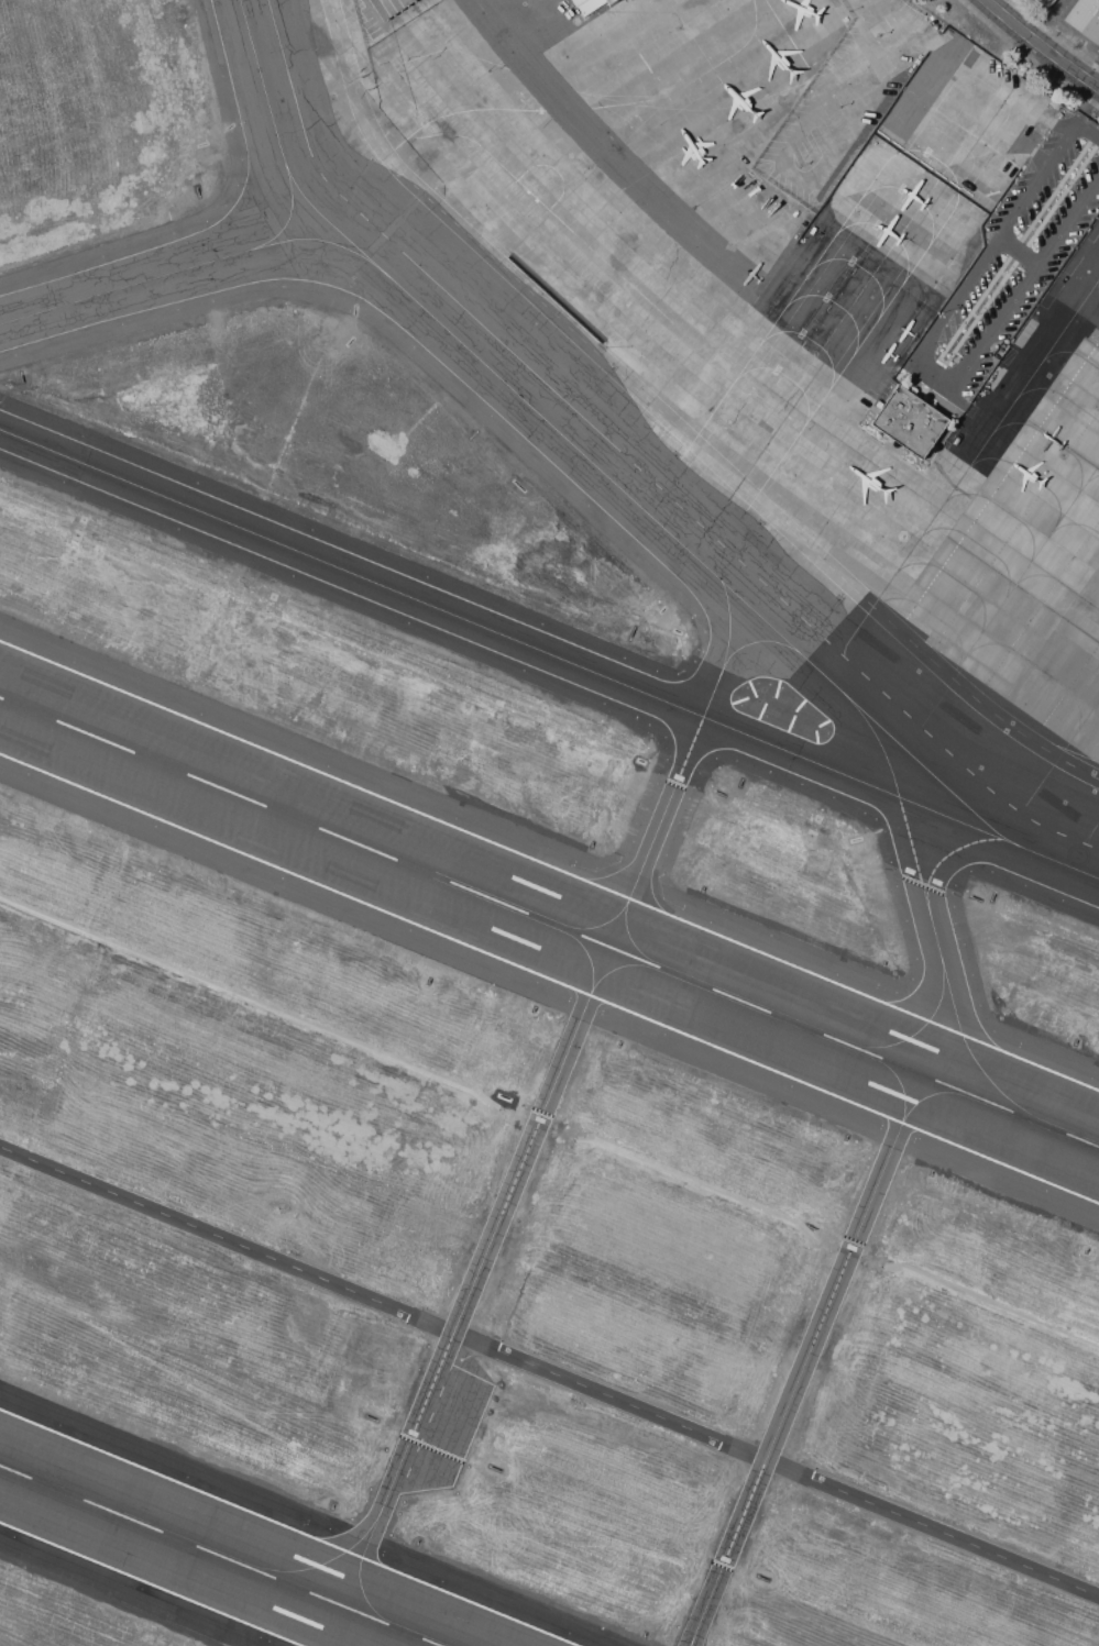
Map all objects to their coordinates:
building: (607, 1)
building: (578, 2)
building: (1044, 2)
building: (589, 5)
building: (388, 7)
building: (1085, 18)
road: (1042, 44)
road: (1088, 106)
airport taxiway: (292, 206)
airport taxiway: (314, 240)
airport taxiway: (131, 285)
airport apron: (781, 310)
road: (921, 356)
building: (909, 416)
airport taxiway: (579, 449)
airport taxiway: (728, 621)
airport taxiway: (755, 643)
airport taxiway: (549, 654)
airport: (549, 822)
helipad: (1080, 855)
airport taxiway: (948, 859)
airport runway: (549, 923)
airport taxiway: (604, 923)
airport taxiway: (628, 931)
airport taxiway: (587, 959)
airport taxiway: (613, 970)
airport taxiway: (920, 1028)
airport taxiway: (972, 1054)
airport taxiway: (901, 1090)
airport taxiway: (550, 1091)
airport taxiway: (927, 1096)
airport taxiway: (884, 1172)
road: (547, 1372)
airport runway: (220, 1556)
airport taxiway: (326, 1561)
airport taxiway: (361, 1572)

